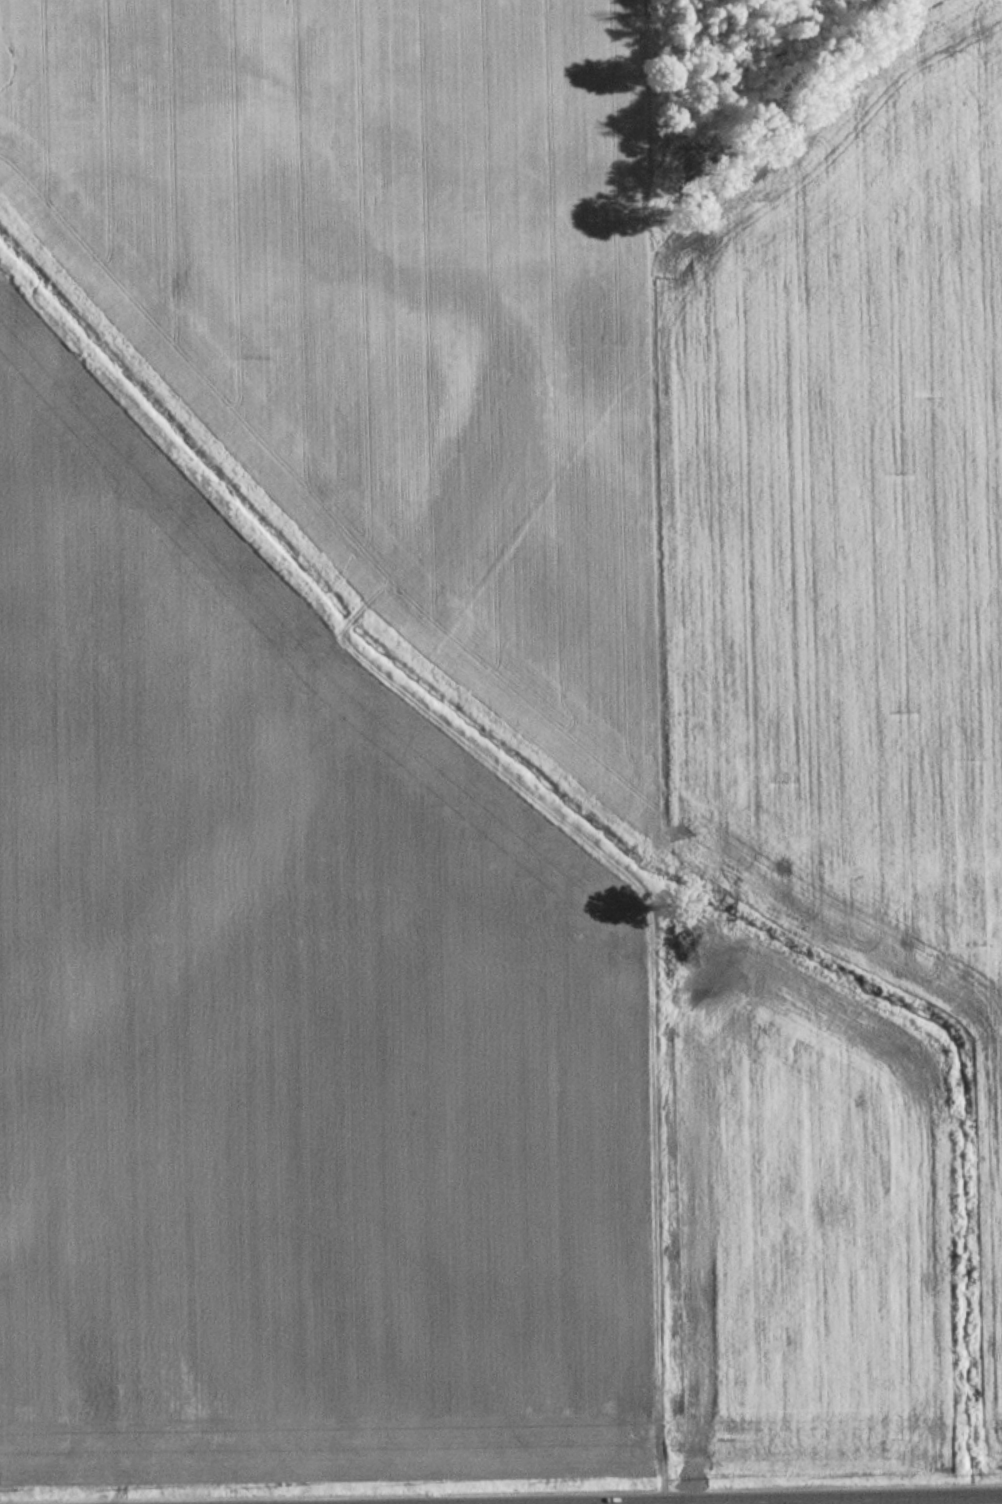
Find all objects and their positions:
road: (787, 1500)

